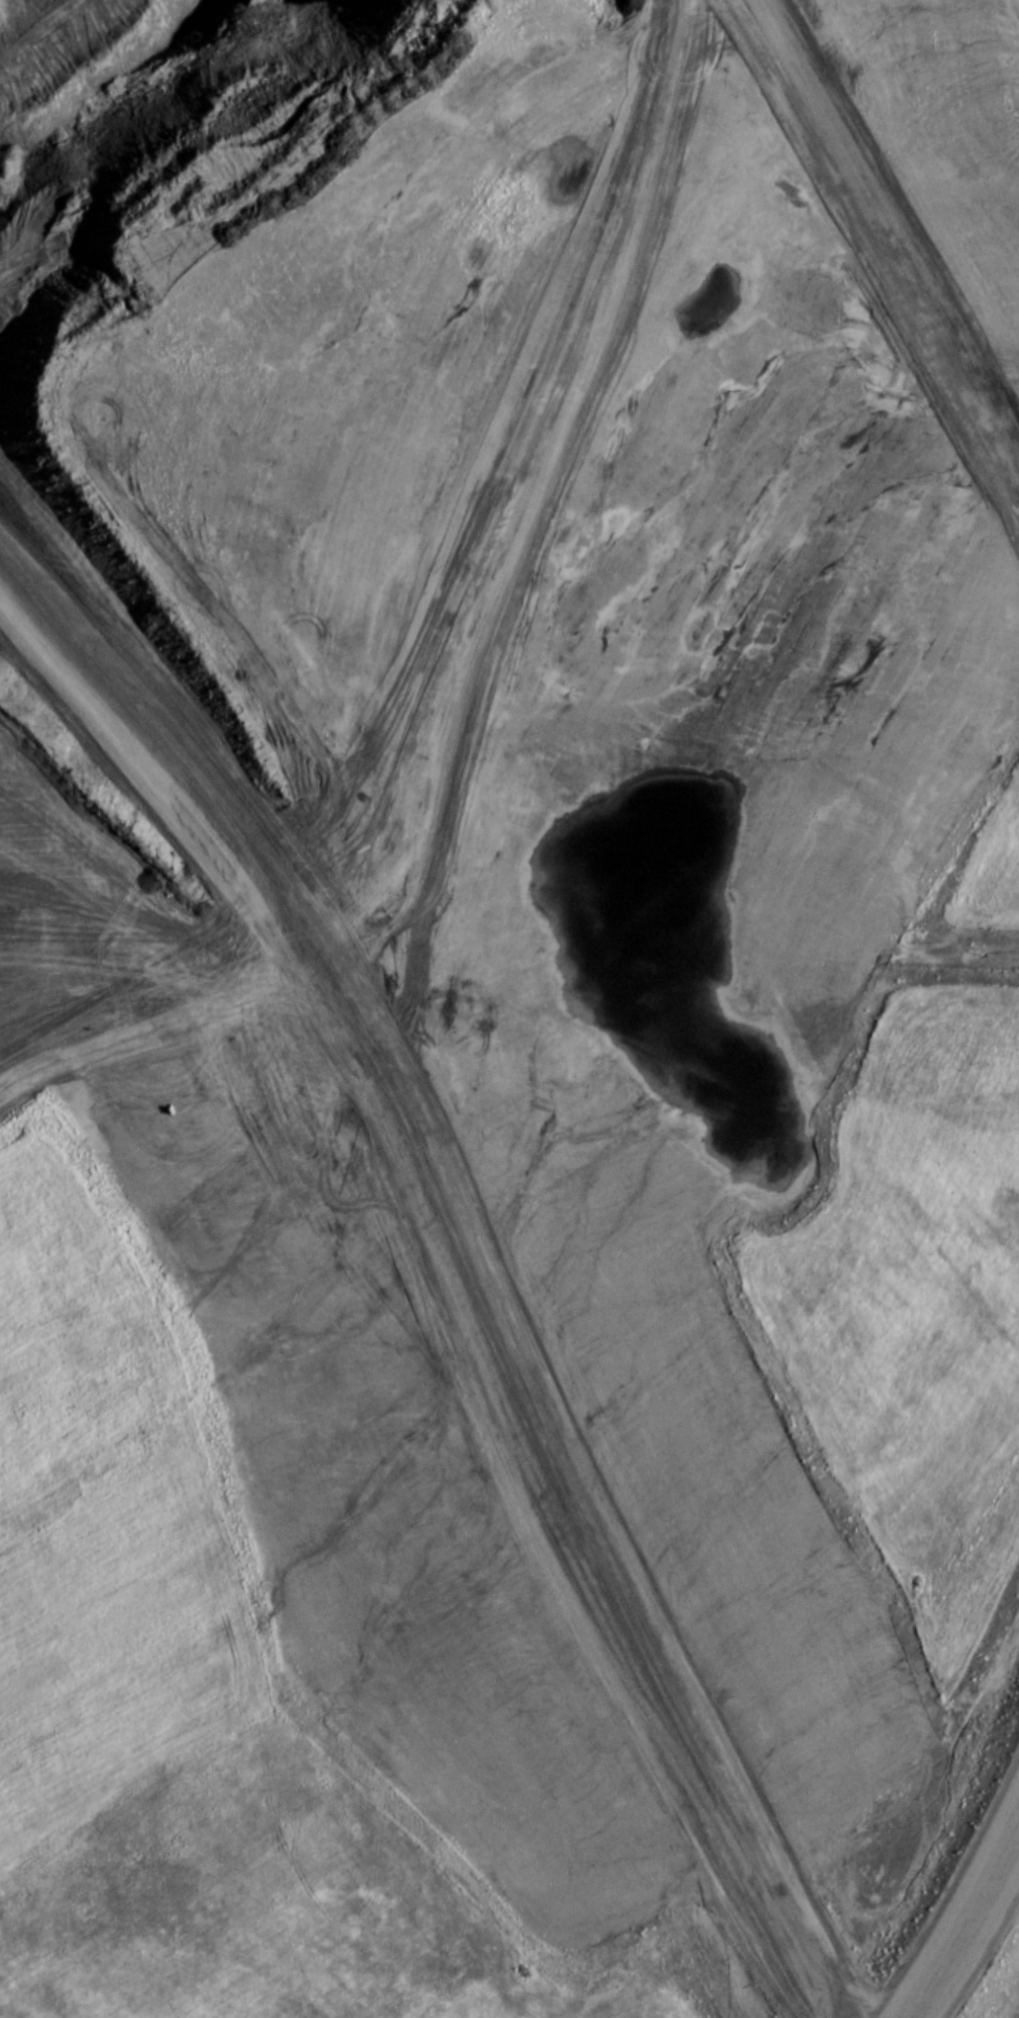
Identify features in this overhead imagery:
building: (1005, 1722)
building: (970, 1833)

